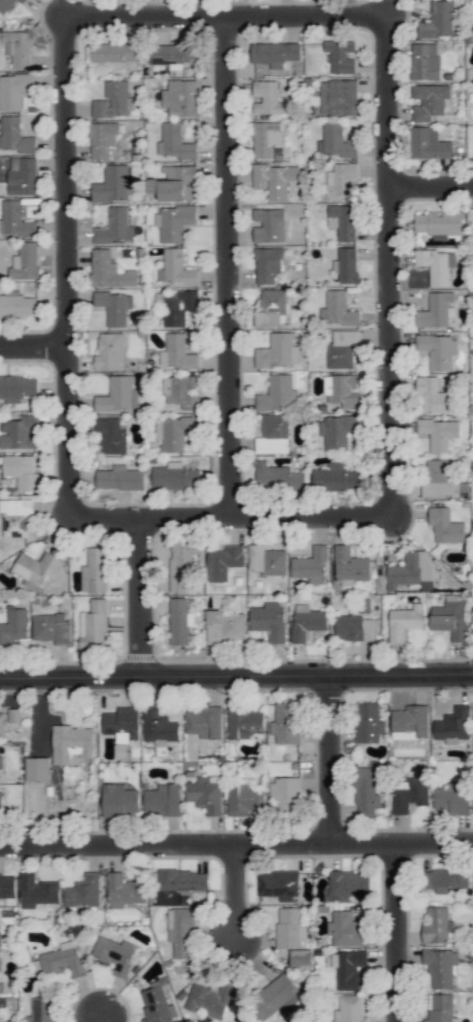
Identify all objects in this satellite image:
building: (7, 5)
building: (437, 20)
road: (223, 22)
building: (472, 30)
building: (18, 48)
building: (113, 52)
building: (171, 54)
building: (275, 54)
building: (340, 56)
building: (424, 61)
building: (14, 91)
building: (338, 97)
building: (180, 98)
building: (266, 98)
building: (113, 101)
building: (430, 101)
building: (14, 135)
building: (102, 139)
building: (267, 139)
building: (335, 141)
building: (174, 142)
building: (428, 144)
building: (22, 176)
building: (275, 180)
building: (342, 180)
building: (173, 183)
building: (113, 184)
road: (430, 188)
building: (14, 220)
building: (342, 221)
building: (174, 222)
building: (439, 223)
building: (269, 225)
building: (115, 227)
building: (25, 261)
building: (267, 264)
building: (347, 265)
building: (436, 265)
building: (175, 268)
road: (389, 269)
building: (108, 271)
road: (228, 271)
road: (65, 272)
building: (17, 305)
building: (176, 306)
building: (114, 307)
building: (271, 308)
building: (337, 309)
building: (435, 310)
building: (342, 349)
building: (437, 350)
road: (33, 351)
building: (278, 351)
building: (110, 352)
building: (176, 352)
building: (17, 388)
building: (342, 390)
building: (180, 391)
building: (277, 394)
building: (118, 395)
building: (433, 397)
building: (337, 430)
building: (174, 432)
building: (19, 433)
building: (438, 433)
building: (111, 435)
building: (273, 435)
building: (22, 472)
building: (174, 477)
building: (277, 477)
building: (335, 477)
building: (119, 478)
building: (438, 479)
building: (15, 517)
road: (231, 520)
building: (445, 526)
building: (266, 560)
building: (223, 562)
building: (311, 565)
building: (181, 566)
building: (37, 567)
building: (350, 567)
building: (410, 569)
building: (94, 571)
road: (142, 599)
building: (450, 619)
building: (269, 620)
building: (179, 621)
building: (404, 621)
building: (306, 622)
building: (93, 624)
building: (14, 626)
building: (224, 626)
building: (354, 627)
building: (51, 628)
road: (236, 676)
building: (204, 722)
building: (243, 722)
building: (368, 722)
building: (410, 722)
building: (121, 723)
building: (285, 723)
building: (1, 724)
building: (453, 725)
building: (158, 726)
building: (71, 743)
road: (332, 759)
building: (0, 762)
building: (37, 769)
building: (365, 792)
building: (205, 793)
building: (409, 794)
building: (285, 797)
building: (452, 798)
building: (119, 799)
building: (244, 799)
building: (162, 800)
road: (236, 843)
building: (446, 879)
building: (183, 880)
building: (348, 884)
building: (7, 885)
building: (277, 885)
building: (37, 891)
building: (83, 891)
building: (124, 891)
road: (239, 891)
building: (436, 925)
building: (289, 928)
building: (345, 930)
building: (181, 931)
road: (399, 931)
building: (0, 940)
building: (114, 954)
building: (63, 959)
building: (301, 959)
building: (0, 963)
building: (440, 967)
building: (348, 968)
building: (1, 988)
building: (275, 996)
building: (212, 999)
building: (157, 1005)
building: (440, 1008)
building: (42, 1010)
building: (349, 1010)
road: (104, 1018)

